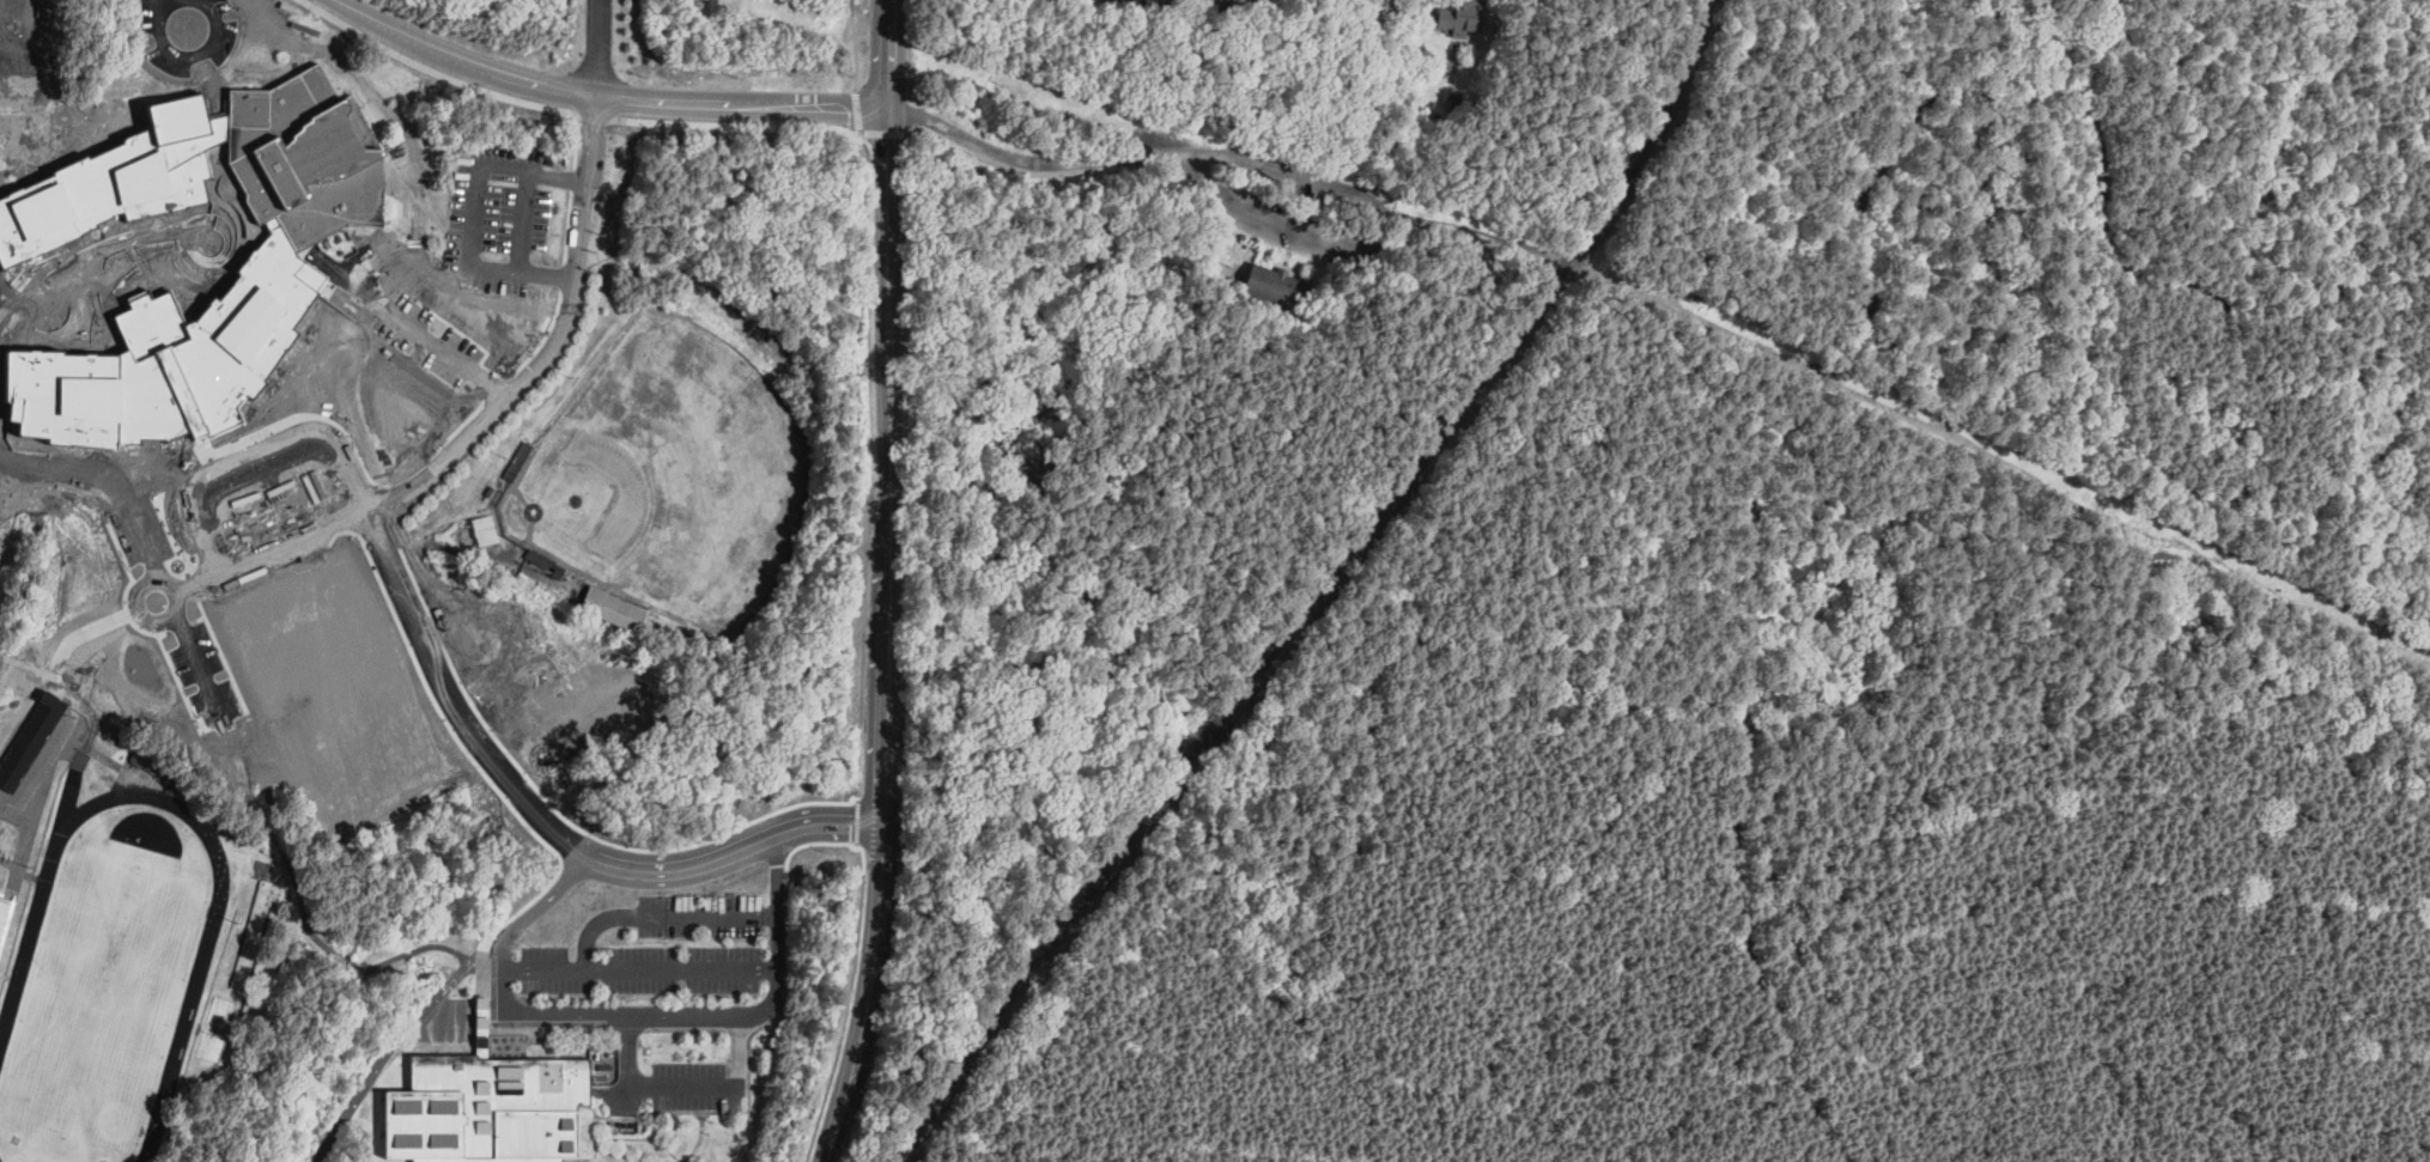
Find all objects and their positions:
building: (1110, 0)
road: (347, 4)
road: (1396, 11)
building: (1463, 17)
building: (1137, 19)
road: (1196, 20)
building: (1221, 30)
road: (855, 44)
road: (911, 48)
road: (2083, 51)
building: (1134, 54)
road: (892, 55)
road: (470, 62)
road: (712, 102)
building: (1456, 103)
road: (861, 109)
road: (858, 110)
building: (26, 114)
road: (911, 114)
road: (885, 133)
road: (1263, 166)
road: (460, 195)
road: (891, 195)
road: (867, 211)
road: (472, 232)
building: (1233, 251)
building: (279, 260)
road: (1672, 264)
road: (546, 269)
building: (1274, 286)
road: (1683, 317)
road: (1861, 323)
road: (505, 393)
road: (891, 456)
building: (518, 462)
park: (672, 472)
road: (2358, 474)
road: (2412, 479)
building: (543, 564)
railway: (1322, 589)
building: (612, 607)
road: (2007, 675)
road: (37, 679)
road: (464, 696)
road: (888, 725)
building: (31, 741)
building: (147, 760)
building: (178, 775)
road: (41, 785)
road: (846, 791)
road: (832, 822)
building: (261, 869)
road: (1444, 908)
road: (672, 913)
building: (4, 919)
road: (879, 937)
track: (206, 949)
parking lot: (666, 950)
road: (2383, 963)
road: (649, 969)
road: (1313, 972)
road: (850, 992)
park: (102, 999)
building: (220, 1012)
road: (540, 1016)
road: (405, 1039)
road: (649, 1088)
parking lot: (688, 1088)
building: (487, 1107)
road: (840, 1107)
road: (1494, 1142)
road: (2425, 1158)
track: (0, 1160)

